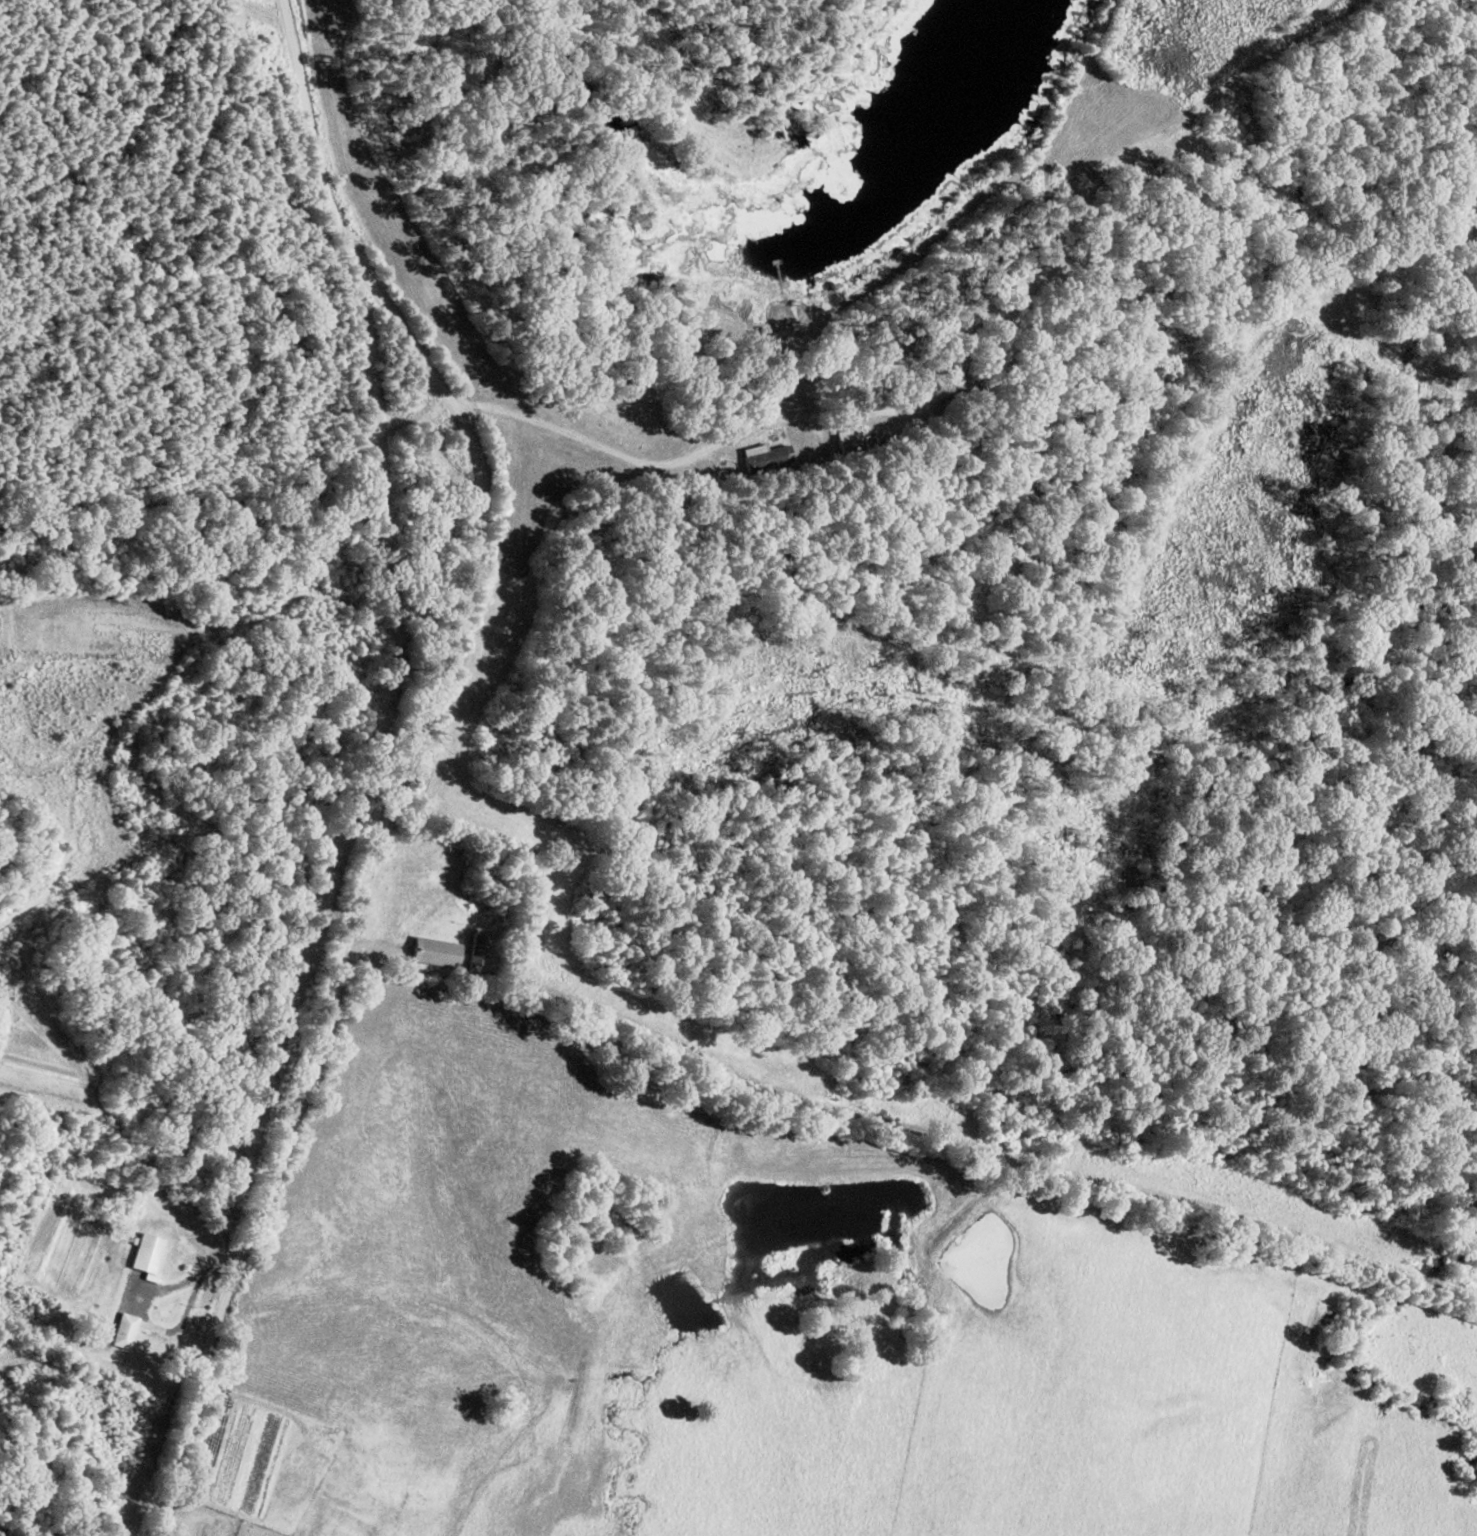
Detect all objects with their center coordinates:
building: (764, 457)
road: (396, 756)
building: (431, 952)
building: (473, 952)
building: (144, 1253)
building: (121, 1331)

